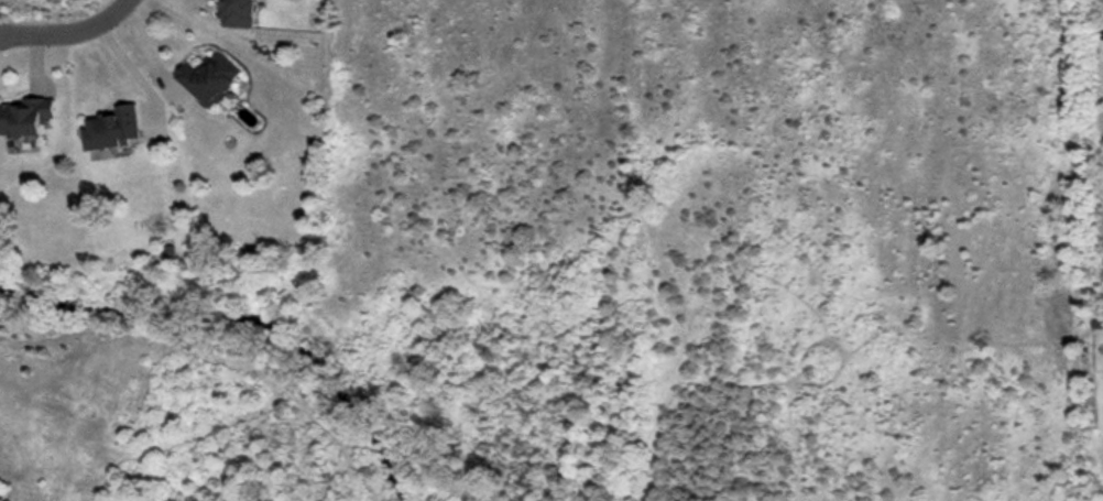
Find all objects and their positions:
building: (240, 13)
road: (62, 28)
building: (214, 79)
building: (31, 117)
building: (116, 129)
crop: (735, 215)

